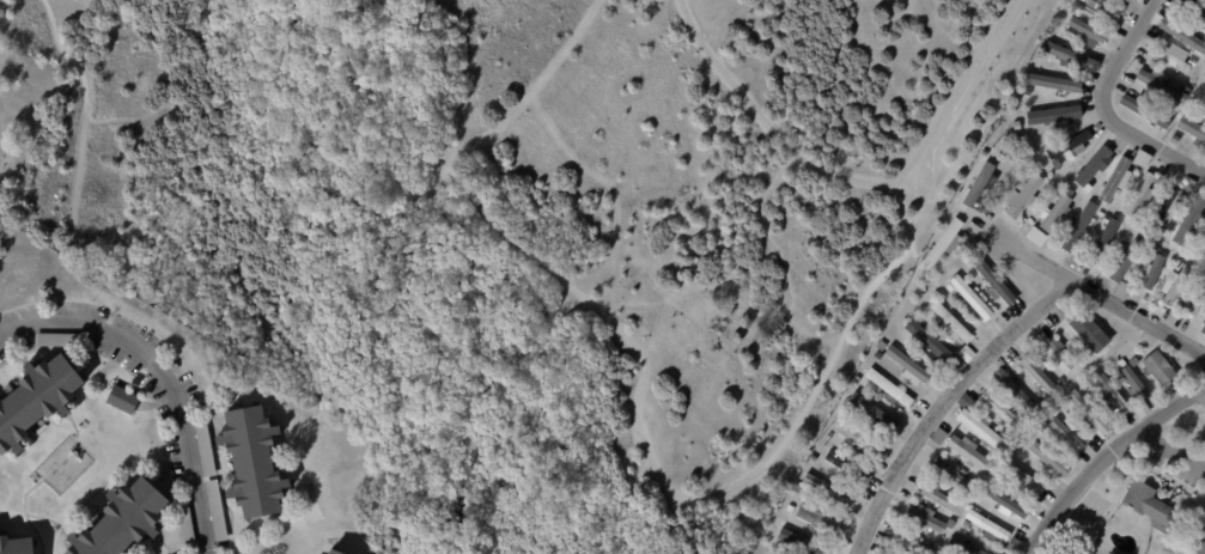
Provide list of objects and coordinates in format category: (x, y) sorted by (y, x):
building: (1077, 5)
building: (1193, 7)
building: (1104, 10)
building: (1088, 30)
building: (1070, 31)
building: (1183, 32)
building: (1070, 55)
building: (1048, 57)
building: (1171, 57)
building: (1191, 61)
building: (1204, 75)
road: (426, 79)
building: (1055, 80)
building: (1160, 83)
building: (1185, 89)
building: (1198, 103)
park: (24, 108)
road: (1106, 108)
building: (1053, 115)
road: (81, 123)
building: (1099, 128)
building: (1193, 130)
building: (1174, 139)
building: (1071, 145)
building: (985, 152)
building: (1055, 164)
building: (1094, 165)
building: (1115, 178)
road: (856, 181)
building: (979, 184)
building: (1021, 184)
building: (1188, 184)
building: (1139, 195)
building: (1023, 196)
building: (1166, 206)
building: (1055, 211)
park: (528, 217)
building: (1104, 219)
building: (1191, 220)
building: (1113, 221)
building: (1136, 223)
building: (1081, 226)
building: (1034, 236)
building: (1163, 236)
building: (1198, 236)
building: (1126, 238)
building: (945, 243)
building: (1102, 243)
building: (1122, 245)
building: (1186, 249)
building: (1156, 250)
building: (1201, 252)
building: (1126, 258)
building: (1176, 266)
building: (1154, 272)
building: (994, 282)
building: (1176, 285)
building: (920, 288)
building: (1121, 290)
road: (1101, 293)
building: (969, 297)
building: (1195, 298)
building: (1053, 318)
building: (949, 322)
building: (1204, 330)
building: (1085, 333)
building: (925, 340)
building: (881, 346)
building: (1053, 351)
building: (1085, 352)
building: (966, 353)
building: (1077, 360)
building: (1134, 361)
building: (955, 363)
building: (1122, 363)
building: (908, 364)
building: (1160, 367)
road: (165, 372)
building: (1036, 373)
building: (858, 379)
building: (1134, 384)
building: (888, 386)
building: (1016, 390)
road: (644, 391)
building: (1109, 392)
building: (846, 396)
building: (126, 400)
road: (944, 400)
building: (38, 401)
building: (962, 403)
building: (1066, 403)
building: (998, 407)
building: (1070, 413)
building: (1087, 413)
building: (874, 414)
building: (979, 428)
building: (1049, 431)
building: (1065, 434)
building: (830, 436)
building: (938, 436)
building: (858, 439)
building: (203, 448)
building: (968, 452)
building: (1047, 456)
building: (811, 457)
road: (1106, 457)
building: (256, 462)
building: (847, 465)
building: (953, 473)
building: (1022, 479)
building: (828, 489)
building: (950, 492)
building: (939, 497)
building: (1047, 497)
building: (823, 499)
building: (1005, 503)
building: (1146, 503)
building: (789, 507)
building: (215, 509)
building: (925, 517)
building: (817, 519)
building: (126, 520)
building: (185, 524)
building: (988, 525)
building: (802, 542)
building: (912, 542)
road: (1201, 543)
building: (937, 544)
building: (18, 546)
building: (1014, 546)
building: (962, 547)
building: (337, 552)
building: (1110, 553)

